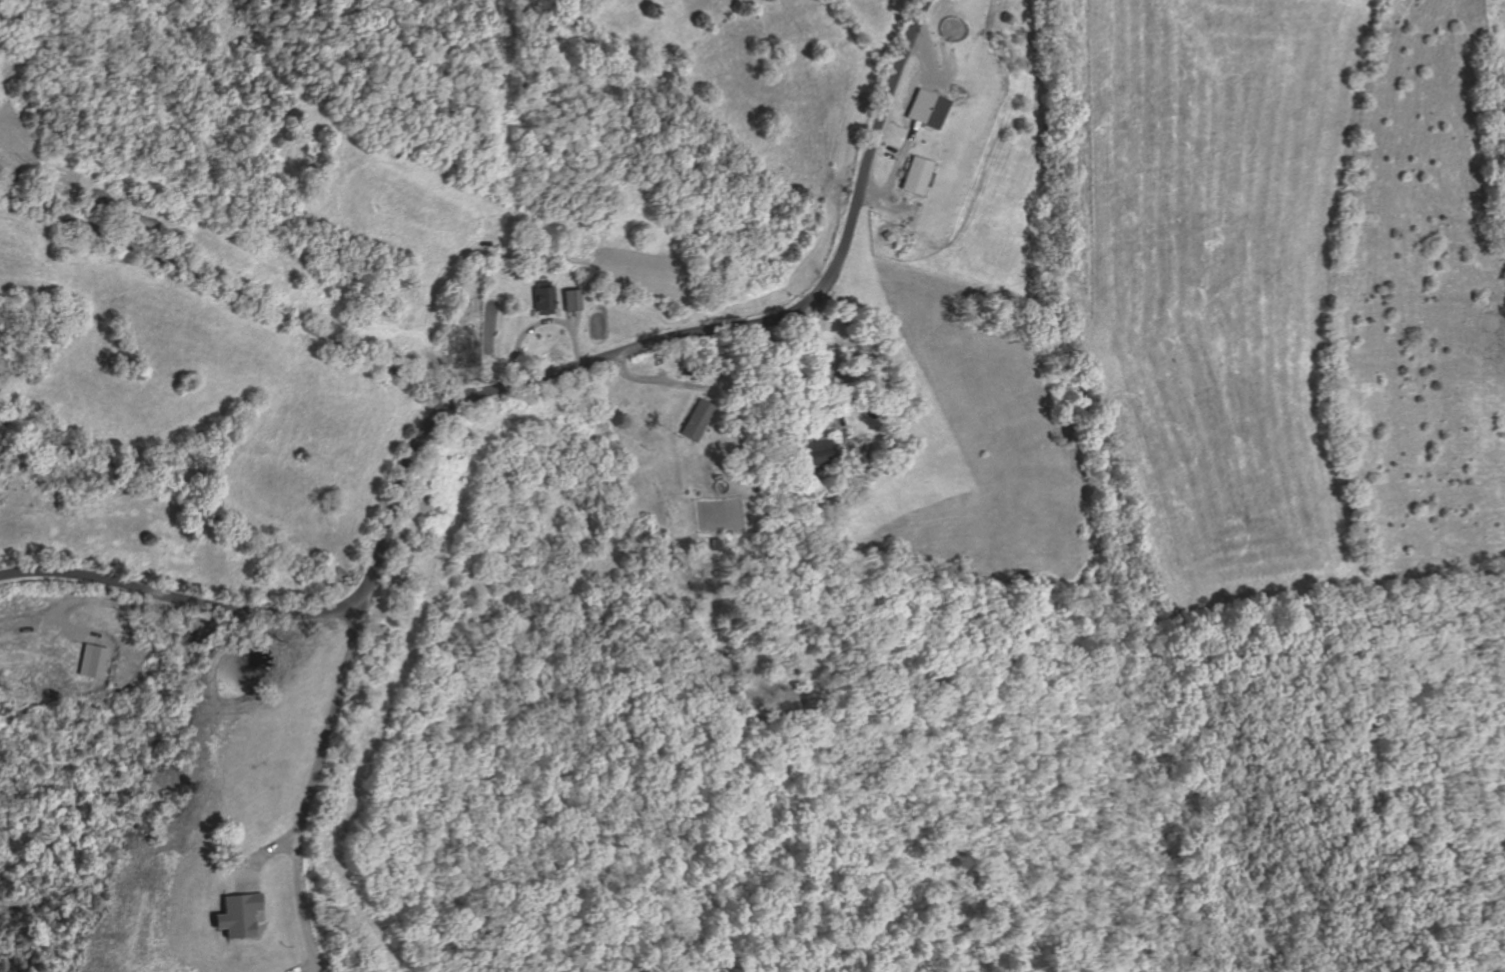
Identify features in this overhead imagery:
road: (927, 59)
road: (922, 107)
building: (926, 109)
road: (895, 153)
road: (895, 169)
building: (916, 176)
road: (884, 204)
building: (887, 236)
road: (228, 290)
building: (542, 297)
building: (570, 299)
road: (573, 318)
road: (540, 322)
building: (460, 348)
building: (688, 369)
road: (655, 379)
road: (826, 382)
road: (505, 385)
road: (708, 394)
building: (698, 420)
road: (822, 428)
road: (833, 428)
building: (814, 452)
building: (850, 465)
road: (65, 607)
road: (36, 624)
building: (95, 661)
road: (310, 787)
road: (258, 857)
road: (262, 902)
building: (236, 914)
road: (307, 967)

